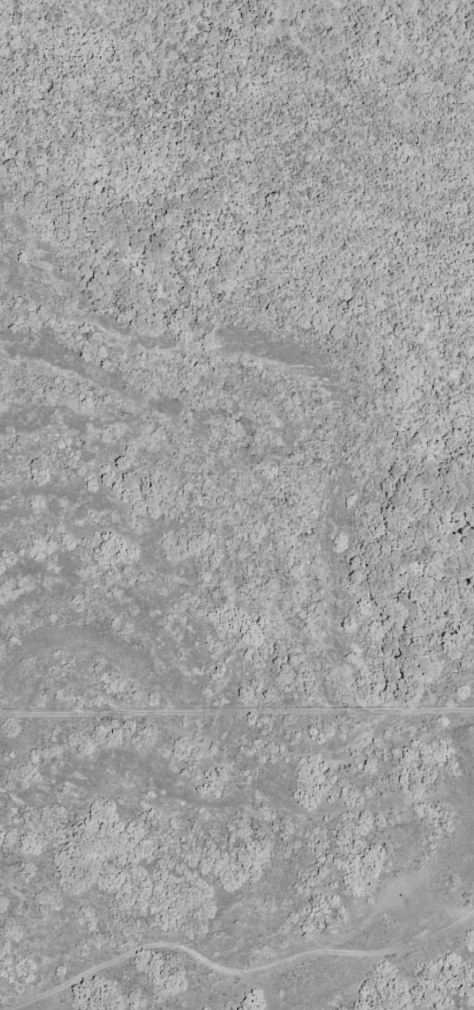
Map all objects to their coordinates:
road: (252, 950)

